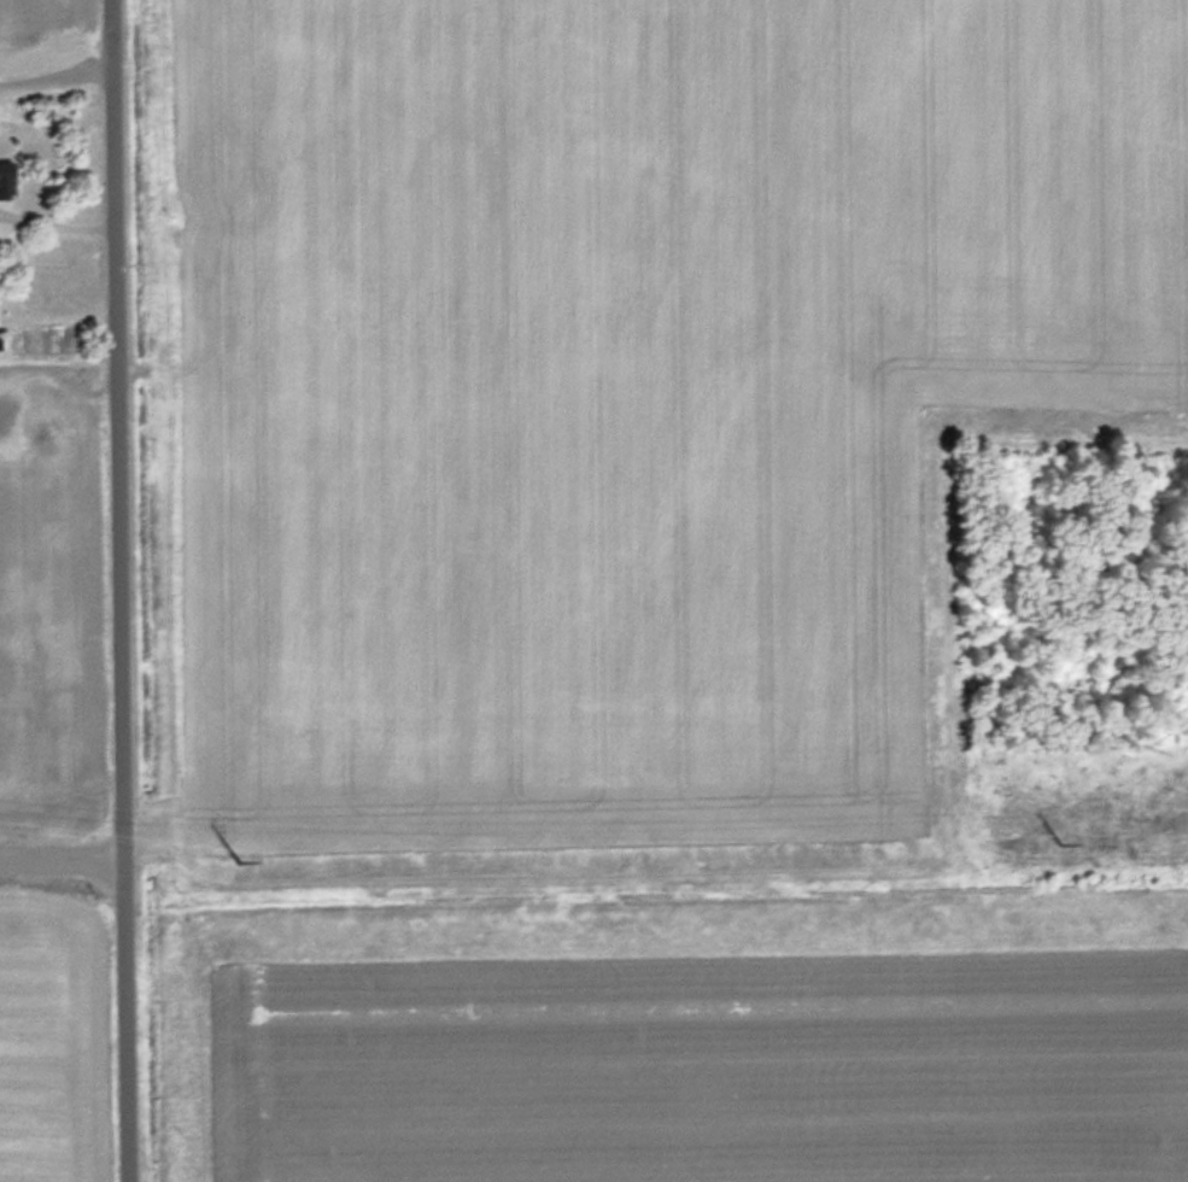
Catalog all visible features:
road: (57, 70)
building: (8, 179)
road: (123, 591)
road: (64, 853)

